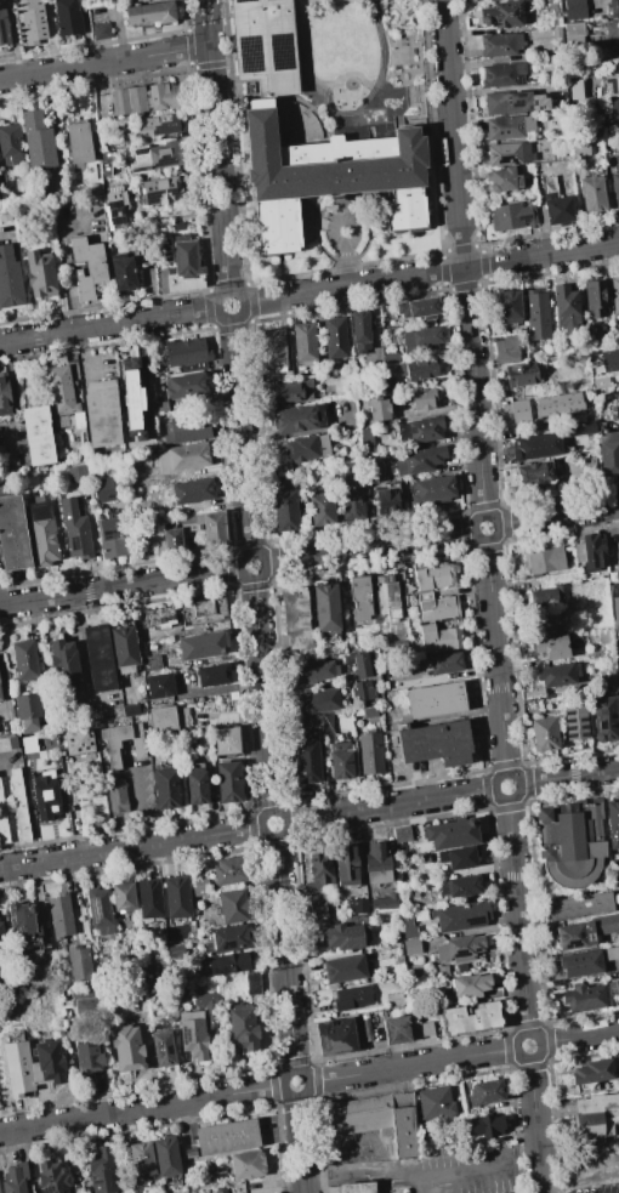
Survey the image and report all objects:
building: (614, 8)
building: (575, 10)
building: (151, 13)
building: (501, 15)
building: (68, 17)
building: (33, 21)
building: (4, 27)
building: (574, 29)
building: (101, 30)
building: (612, 30)
building: (556, 33)
building: (598, 44)
building: (500, 45)
building: (614, 56)
park: (362, 58)
road: (103, 62)
building: (589, 70)
building: (502, 74)
building: (612, 84)
building: (146, 98)
building: (510, 102)
building: (613, 110)
building: (166, 123)
building: (509, 127)
building: (260, 130)
road: (453, 132)
building: (596, 132)
building: (38, 141)
building: (79, 143)
building: (11, 144)
road: (216, 146)
building: (581, 147)
building: (507, 154)
building: (106, 157)
building: (155, 157)
building: (104, 172)
building: (5, 177)
building: (505, 178)
building: (615, 187)
building: (95, 188)
building: (158, 191)
building: (591, 194)
building: (557, 203)
building: (112, 206)
building: (511, 216)
road: (541, 255)
road: (64, 260)
building: (87, 267)
building: (181, 267)
building: (40, 274)
building: (124, 274)
building: (10, 278)
road: (352, 285)
building: (615, 294)
building: (598, 299)
road: (240, 300)
building: (418, 308)
building: (507, 308)
building: (566, 308)
building: (536, 314)
road: (109, 326)
building: (360, 330)
building: (335, 337)
building: (419, 339)
building: (305, 343)
building: (273, 350)
building: (505, 351)
building: (186, 352)
building: (391, 356)
building: (374, 357)
building: (583, 359)
building: (609, 359)
building: (198, 365)
building: (325, 365)
building: (419, 369)
building: (522, 375)
building: (601, 382)
building: (184, 385)
building: (386, 385)
road: (473, 390)
building: (61, 391)
building: (290, 392)
building: (5, 396)
building: (424, 398)
building: (132, 399)
building: (558, 403)
building: (159, 407)
building: (379, 409)
building: (519, 411)
building: (102, 413)
building: (299, 419)
building: (78, 420)
building: (579, 427)
building: (187, 428)
building: (418, 430)
building: (365, 433)
building: (38, 434)
road: (240, 436)
building: (538, 447)
building: (305, 448)
building: (608, 453)
building: (183, 456)
building: (420, 460)
building: (374, 470)
building: (535, 472)
building: (76, 473)
building: (28, 476)
road: (2, 488)
building: (102, 489)
building: (433, 489)
building: (193, 490)
building: (352, 496)
building: (386, 502)
building: (284, 509)
building: (320, 509)
building: (369, 515)
road: (558, 515)
road: (495, 521)
building: (188, 523)
building: (212, 528)
building: (74, 529)
building: (13, 534)
building: (42, 534)
building: (113, 536)
building: (172, 540)
road: (368, 546)
building: (590, 552)
road: (262, 558)
building: (544, 561)
building: (433, 575)
building: (613, 576)
road: (119, 586)
building: (387, 596)
building: (545, 596)
building: (359, 598)
building: (325, 607)
building: (437, 607)
building: (615, 608)
building: (203, 612)
building: (159, 617)
building: (296, 617)
building: (442, 638)
building: (203, 646)
building: (552, 647)
building: (126, 649)
road: (84, 655)
road: (495, 657)
building: (100, 658)
building: (618, 658)
building: (25, 659)
building: (63, 663)
building: (152, 663)
building: (443, 663)
building: (360, 665)
building: (312, 672)
building: (557, 674)
building: (215, 675)
building: (607, 678)
building: (0, 684)
building: (160, 686)
building: (363, 691)
road: (262, 694)
building: (547, 694)
building: (0, 697)
road: (4, 698)
building: (436, 699)
building: (317, 700)
building: (80, 710)
building: (132, 710)
building: (28, 712)
building: (370, 712)
building: (167, 718)
building: (604, 718)
building: (306, 721)
building: (326, 723)
building: (575, 723)
building: (544, 732)
building: (79, 739)
building: (191, 740)
building: (226, 740)
building: (435, 743)
building: (112, 744)
building: (29, 745)
building: (370, 752)
building: (340, 760)
building: (307, 761)
road: (569, 776)
road: (421, 778)
road: (518, 780)
building: (229, 782)
building: (197, 784)
building: (166, 788)
building: (45, 795)
building: (115, 795)
building: (19, 805)
road: (135, 805)
road: (390, 806)
road: (284, 817)
building: (4, 820)
building: (613, 823)
building: (402, 834)
building: (453, 834)
building: (572, 840)
road: (131, 848)
building: (458, 858)
building: (377, 863)
building: (346, 865)
building: (229, 870)
building: (319, 873)
building: (460, 886)
building: (199, 887)
building: (415, 894)
building: (124, 896)
building: (177, 897)
building: (151, 899)
building: (403, 899)
building: (385, 902)
building: (239, 905)
building: (357, 905)
building: (580, 905)
building: (317, 907)
building: (422, 913)
building: (101, 914)
building: (61, 916)
building: (460, 916)
road: (517, 916)
building: (350, 920)
building: (25, 926)
building: (585, 931)
building: (345, 936)
building: (2, 939)
building: (228, 939)
building: (410, 944)
building: (459, 948)
road: (284, 953)
building: (611, 954)
building: (79, 964)
building: (229, 964)
building: (580, 964)
building: (161, 965)
building: (346, 968)
building: (441, 971)
building: (575, 982)
building: (252, 983)
building: (467, 984)
building: (64, 993)
building: (352, 998)
building: (586, 998)
building: (204, 999)
building: (83, 1001)
building: (471, 1018)
building: (243, 1028)
building: (396, 1029)
building: (422, 1029)
building: (336, 1036)
building: (193, 1038)
road: (580, 1038)
road: (539, 1039)
building: (127, 1049)
building: (164, 1049)
building: (87, 1056)
building: (47, 1062)
building: (17, 1064)
road: (413, 1066)
building: (592, 1074)
road: (307, 1079)
building: (481, 1092)
building: (433, 1102)
building: (597, 1103)
road: (141, 1108)
building: (357, 1115)
building: (404, 1125)
building: (484, 1125)
road: (535, 1125)
building: (590, 1126)
building: (424, 1131)
building: (227, 1137)
road: (302, 1144)
building: (166, 1157)
building: (142, 1160)
building: (245, 1165)
building: (102, 1171)
parking lot: (468, 1172)
road: (405, 1174)
building: (52, 1177)
road: (579, 1177)
building: (16, 1178)
road: (424, 1186)
building: (357, 1187)
parking lot: (596, 1187)
building: (75, 1189)

